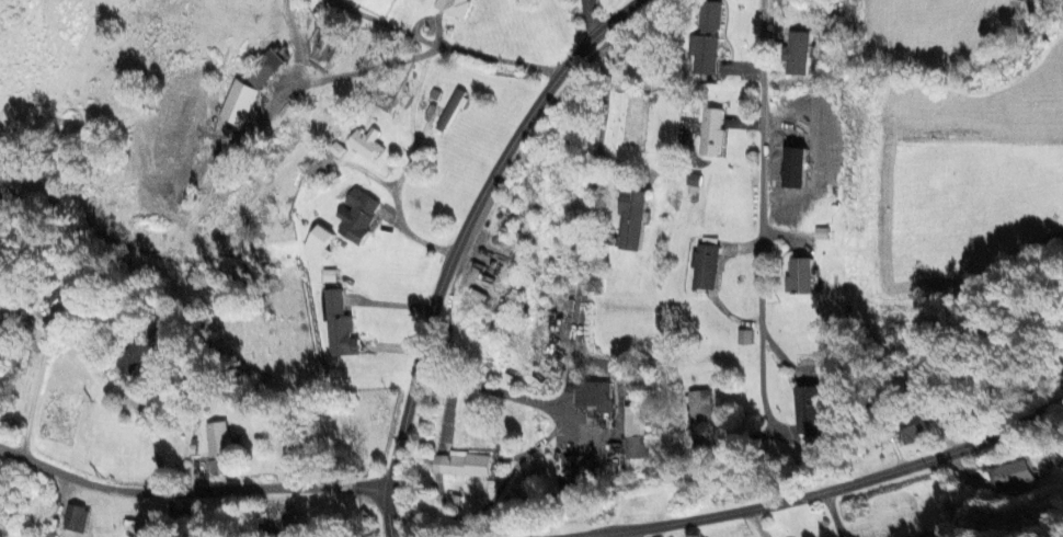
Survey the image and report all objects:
building: (449, 8)
road: (379, 23)
building: (705, 39)
building: (797, 54)
road: (500, 58)
road: (351, 71)
building: (243, 92)
building: (448, 112)
road: (411, 126)
building: (709, 132)
building: (364, 142)
building: (322, 159)
road: (724, 196)
building: (353, 215)
building: (629, 219)
building: (819, 233)
road: (423, 236)
road: (456, 239)
building: (315, 243)
building: (702, 267)
building: (798, 277)
road: (573, 289)
building: (60, 298)
building: (335, 327)
building: (742, 338)
building: (130, 356)
road: (34, 388)
building: (591, 396)
building: (698, 405)
building: (807, 411)
building: (907, 429)
building: (633, 433)
road: (146, 437)
building: (215, 439)
building: (460, 466)
building: (569, 470)
building: (1005, 476)
road: (825, 482)
road: (190, 489)
building: (72, 519)
road: (633, 534)

